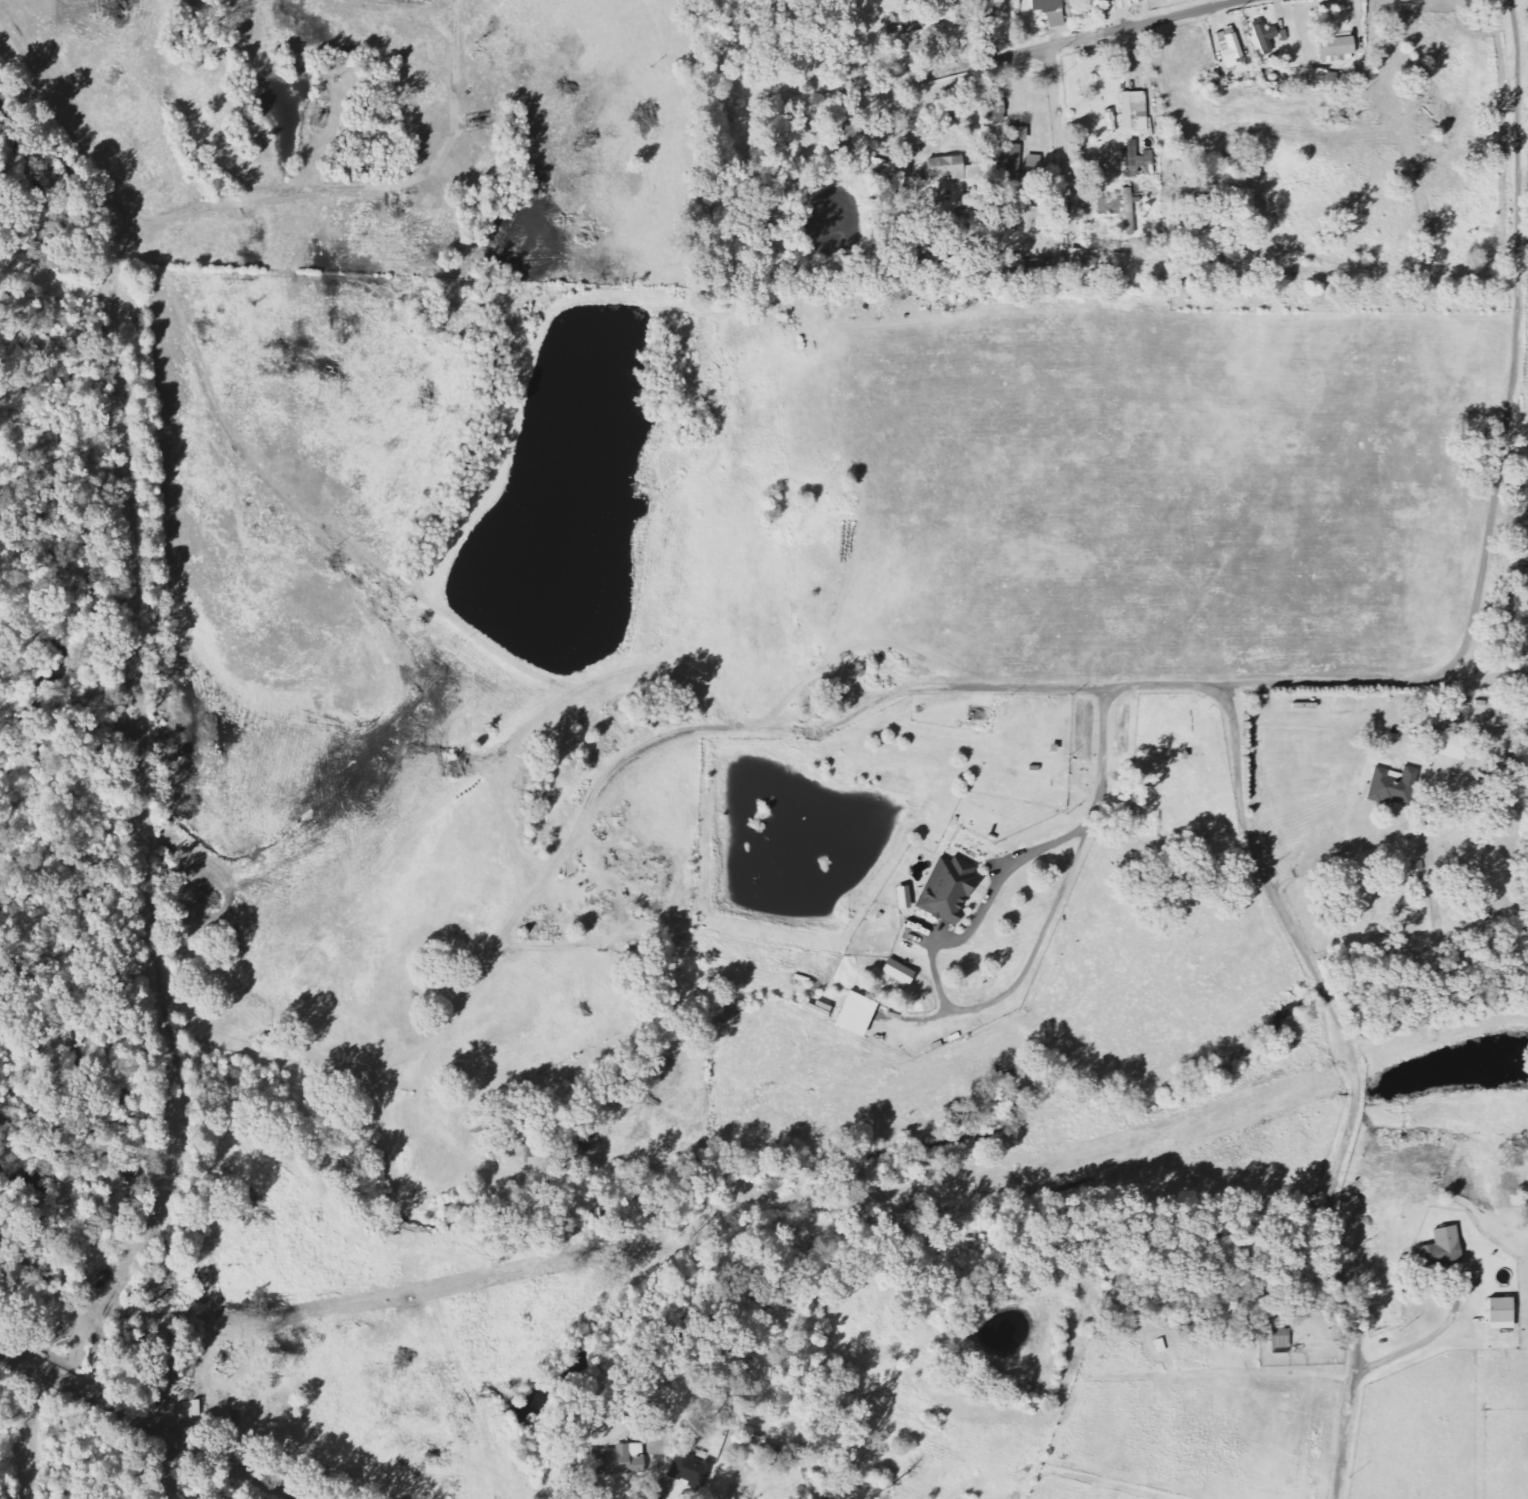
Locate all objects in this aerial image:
building: (1096, 3)
building: (1127, 4)
building: (1001, 6)
building: (1052, 11)
building: (1267, 37)
road: (1078, 40)
building: (1231, 45)
building: (1339, 50)
building: (1315, 77)
building: (997, 112)
building: (1135, 112)
road: (1059, 133)
building: (1008, 158)
building: (952, 169)
building: (1120, 208)
building: (1028, 264)
building: (1114, 269)
road: (1240, 685)
building: (1394, 786)
building: (950, 890)
building: (906, 897)
building: (901, 972)
building: (859, 1014)
building: (1445, 1249)
building: (1504, 1314)
building: (1282, 1338)
road: (149, 1425)
building: (619, 1460)
road: (161, 1467)
building: (693, 1468)

